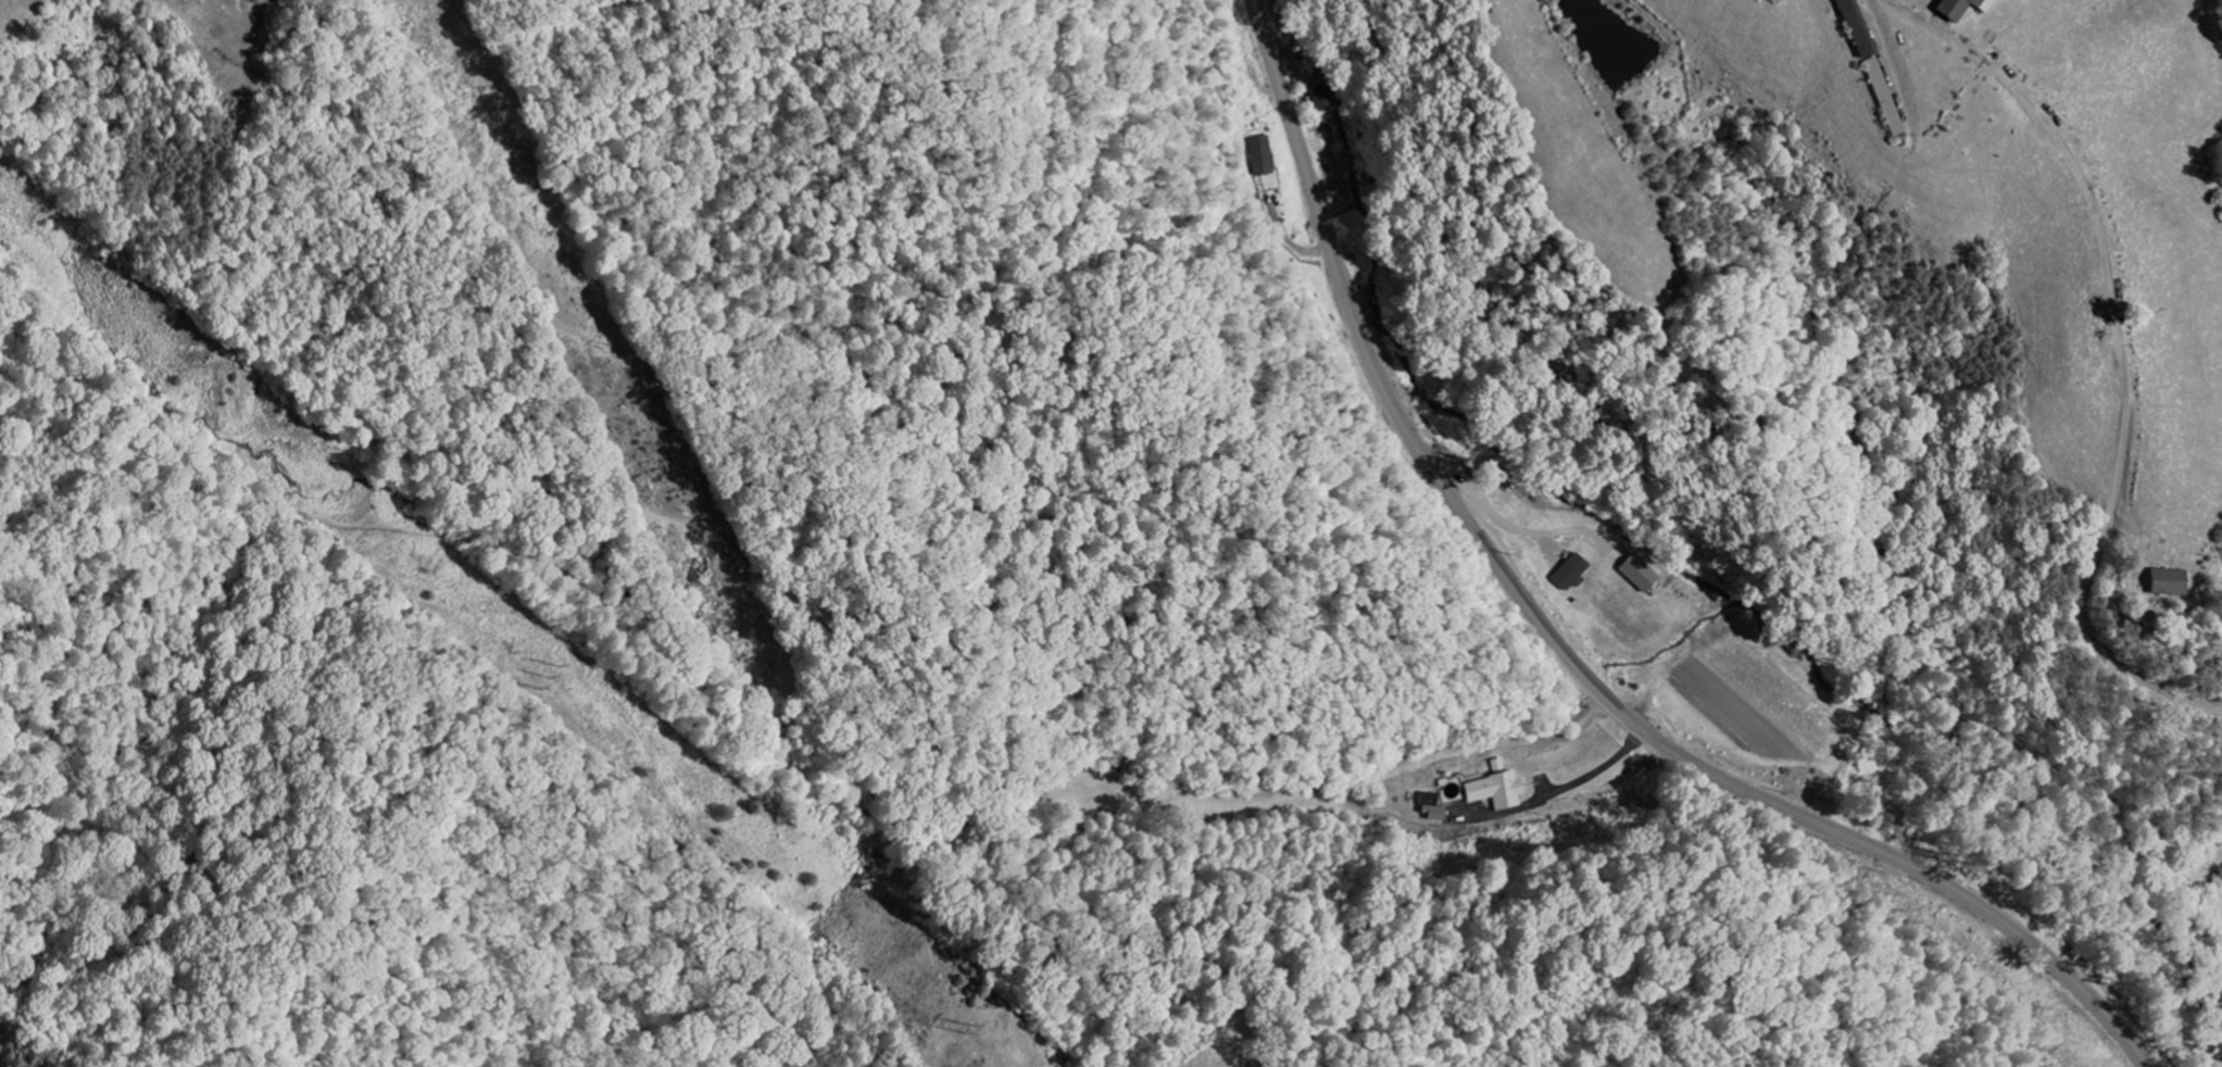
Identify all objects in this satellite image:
building: (1773, 1)
building: (1961, 8)
building: (1856, 28)
building: (1883, 97)
building: (1260, 155)
building: (1572, 572)
building: (1637, 572)
building: (2163, 581)
road: (1565, 651)
building: (1497, 790)
building: (1434, 807)
power tower: (970, 1028)

